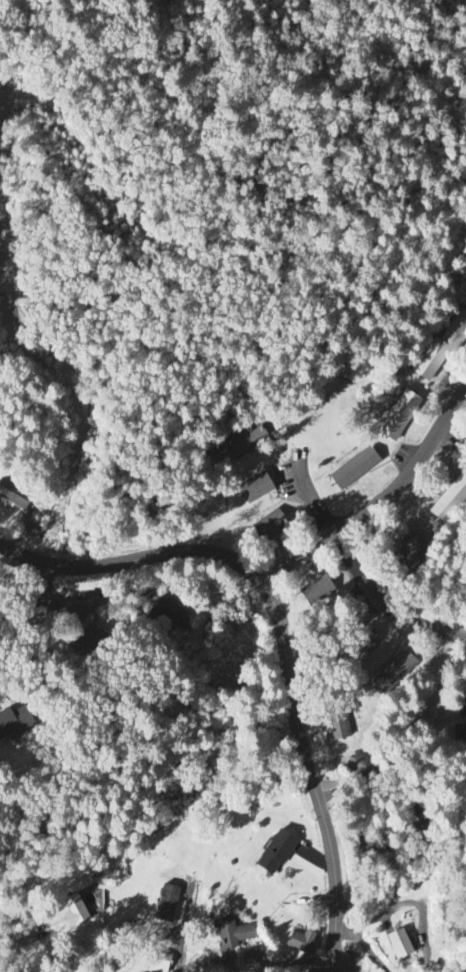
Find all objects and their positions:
building: (443, 350)
building: (400, 416)
building: (243, 443)
building: (355, 470)
building: (256, 490)
building: (15, 495)
road: (382, 501)
building: (450, 501)
building: (271, 526)
building: (412, 552)
road: (132, 561)
road: (357, 569)
building: (317, 592)
road: (100, 600)
road: (41, 602)
building: (166, 613)
building: (87, 641)
building: (362, 648)
building: (394, 674)
road: (8, 693)
building: (15, 724)
building: (338, 725)
building: (458, 734)
building: (361, 766)
road: (311, 772)
building: (276, 854)
building: (168, 905)
building: (74, 911)
building: (234, 934)
building: (301, 943)
building: (399, 945)
road: (294, 961)
building: (159, 964)
road: (347, 966)
road: (325, 967)

